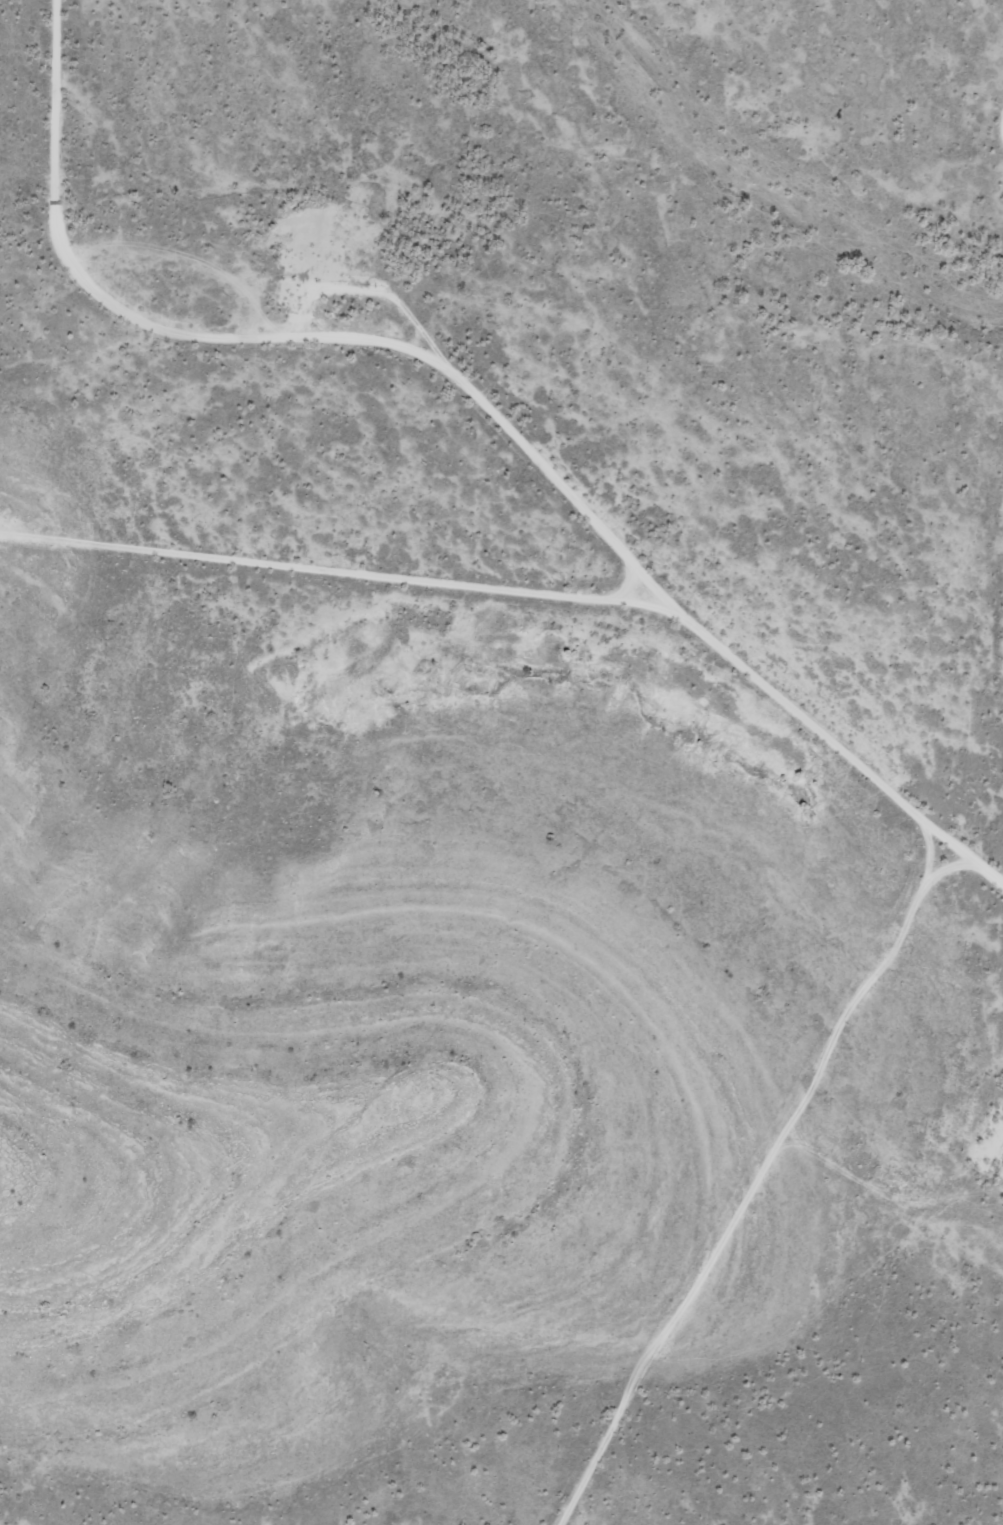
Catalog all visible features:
road: (265, 333)
road: (566, 596)

